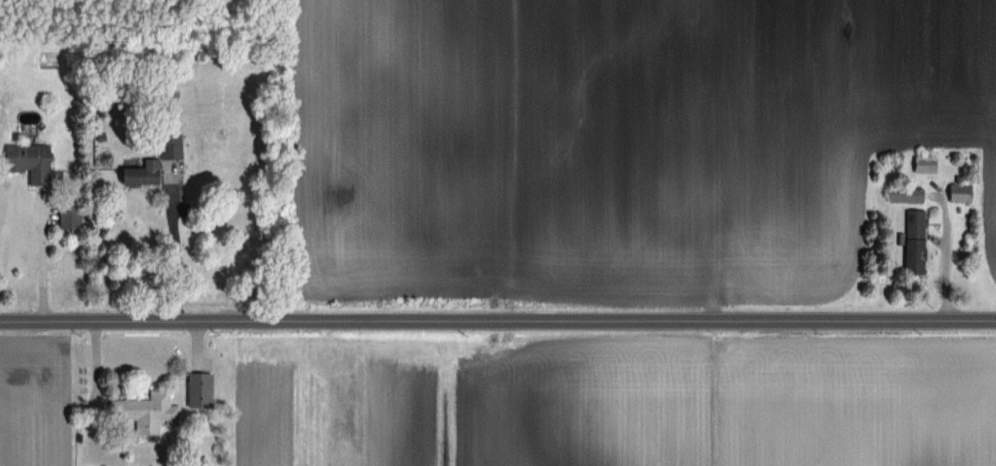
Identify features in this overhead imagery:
building: (926, 163)
building: (960, 192)
building: (906, 193)
building: (915, 241)
road: (181, 256)
road: (45, 259)
road: (498, 322)

